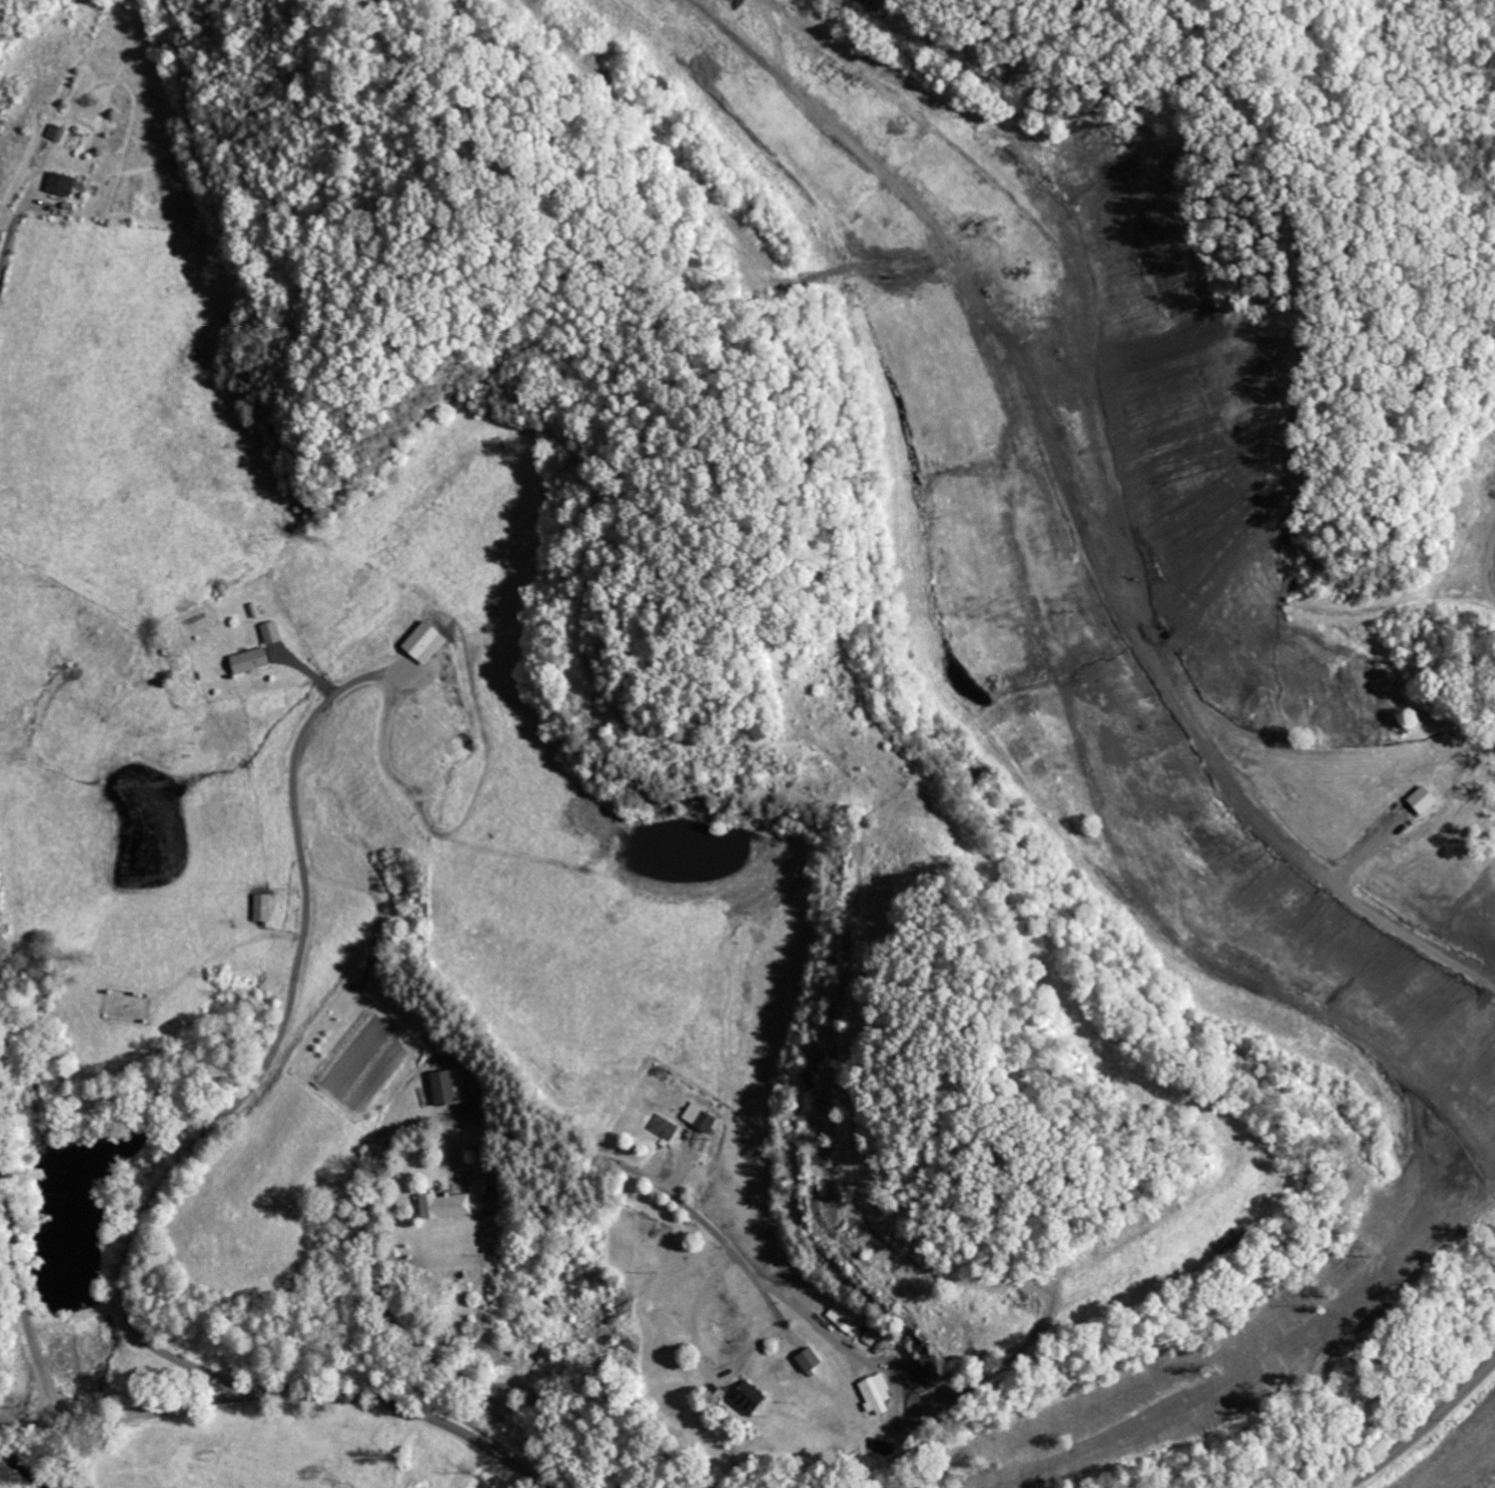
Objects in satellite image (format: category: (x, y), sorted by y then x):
building: (67, 184)
building: (274, 633)
building: (423, 642)
building: (255, 661)
building: (1418, 799)
building: (262, 906)
road: (270, 1057)
building: (448, 1086)
building: (697, 1117)
road: (406, 1130)
building: (442, 1205)
road: (27, 1281)
building: (843, 1319)
road: (294, 1392)
building: (872, 1393)
building: (745, 1397)
road: (1422, 1426)

